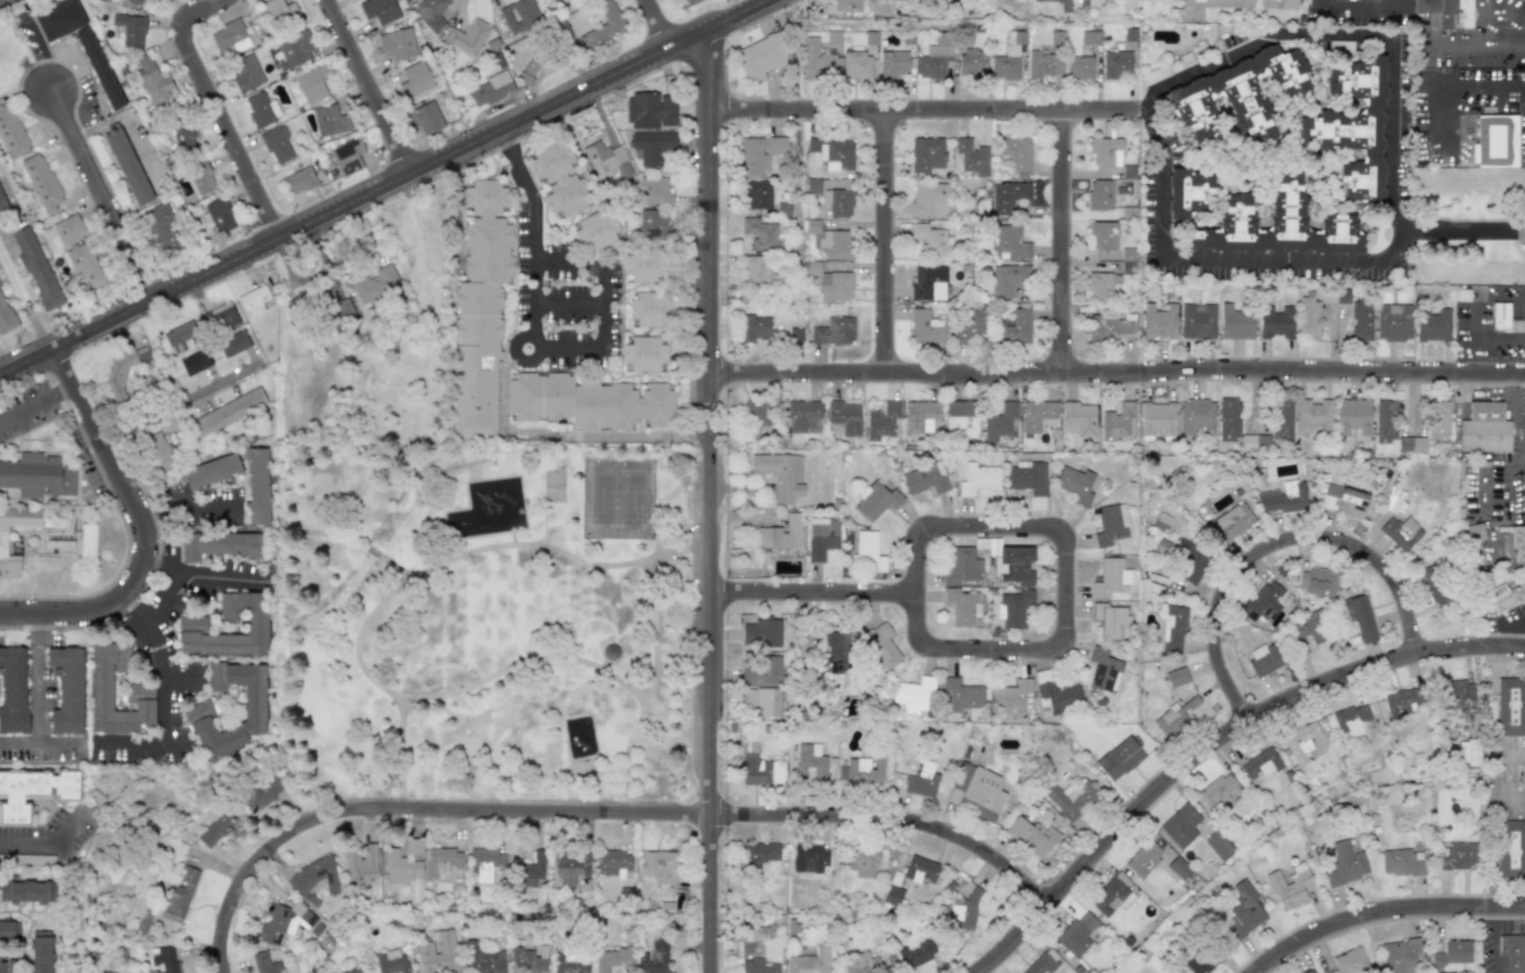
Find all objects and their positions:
building: (137, 1)
road: (1362, 1)
building: (686, 3)
building: (1061, 4)
building: (1240, 4)
building: (845, 6)
building: (379, 10)
building: (278, 12)
building: (430, 13)
building: (1464, 14)
building: (519, 15)
building: (58, 18)
road: (1428, 25)
road: (658, 26)
building: (603, 27)
building: (131, 29)
building: (468, 37)
building: (1090, 37)
building: (229, 38)
building: (1056, 39)
building: (396, 43)
building: (294, 48)
road: (1474, 50)
building: (762, 57)
building: (1009, 57)
building: (935, 58)
building: (819, 61)
building: (973, 62)
building: (893, 64)
building: (1117, 64)
building: (857, 65)
building: (1041, 65)
building: (1080, 67)
building: (99, 68)
building: (535, 69)
building: (245, 72)
building: (414, 79)
building: (153, 80)
building: (312, 84)
road: (1445, 86)
road: (369, 88)
building: (491, 88)
building: (1238, 95)
road: (218, 108)
building: (261, 109)
building: (652, 110)
road: (906, 110)
road: (1120, 113)
road: (1140, 113)
building: (424, 118)
building: (330, 120)
building: (1353, 127)
building: (11, 132)
building: (183, 137)
building: (1495, 139)
building: (277, 145)
road: (507, 147)
building: (1106, 152)
building: (834, 153)
building: (759, 154)
building: (927, 154)
building: (1017, 154)
building: (347, 155)
building: (972, 157)
building: (606, 160)
building: (127, 165)
building: (201, 177)
building: (559, 179)
building: (299, 180)
road: (524, 180)
building: (41, 182)
road: (389, 190)
building: (654, 191)
road: (101, 193)
building: (1188, 193)
building: (758, 194)
building: (1100, 194)
building: (1008, 196)
building: (930, 200)
building: (839, 202)
road: (1396, 205)
building: (4, 210)
building: (219, 215)
building: (653, 222)
building: (1276, 225)
road: (1461, 228)
building: (68, 229)
building: (161, 229)
building: (597, 231)
building: (762, 235)
building: (1104, 235)
road: (881, 239)
building: (930, 239)
building: (830, 240)
building: (1010, 241)
road: (1058, 241)
building: (85, 265)
road: (533, 265)
building: (643, 265)
building: (36, 268)
building: (756, 269)
building: (1009, 280)
building: (929, 283)
building: (376, 285)
building: (836, 286)
building: (1100, 286)
building: (1342, 296)
road: (567, 300)
building: (253, 301)
road: (600, 301)
road: (24, 302)
building: (651, 309)
building: (339, 313)
building: (480, 313)
building: (5, 315)
building: (1500, 315)
building: (220, 318)
building: (1309, 318)
building: (1361, 320)
road: (1475, 320)
building: (1159, 321)
building: (1197, 321)
building: (1276, 321)
building: (970, 322)
building: (1235, 322)
building: (1393, 322)
building: (1433, 324)
building: (1110, 325)
building: (755, 328)
building: (925, 328)
building: (1017, 328)
building: (834, 331)
road: (525, 333)
building: (179, 334)
building: (795, 335)
building: (233, 344)
building: (645, 354)
road: (519, 360)
building: (195, 362)
building: (122, 371)
road: (1117, 371)
road: (1514, 386)
road: (1491, 400)
building: (588, 402)
road: (35, 404)
building: (226, 412)
building: (755, 413)
building: (1312, 414)
building: (920, 415)
building: (1037, 415)
building: (803, 416)
building: (1352, 416)
building: (1156, 417)
building: (1197, 417)
building: (843, 418)
building: (960, 418)
building: (1078, 418)
building: (1227, 418)
building: (1282, 418)
road: (180, 420)
building: (882, 420)
building: (1438, 420)
building: (999, 421)
building: (1118, 421)
building: (1385, 421)
building: (1484, 428)
building: (1411, 443)
building: (157, 452)
building: (209, 471)
building: (781, 474)
road: (1501, 474)
building: (925, 478)
building: (977, 478)
building: (1029, 482)
building: (1075, 484)
building: (256, 485)
park: (553, 486)
building: (1282, 497)
park: (601, 498)
park: (632, 499)
building: (876, 500)
building: (1343, 501)
road: (708, 502)
road: (203, 505)
road: (152, 512)
building: (1162, 522)
building: (1230, 522)
road: (544, 524)
building: (1110, 524)
road: (144, 531)
building: (1400, 532)
building: (1474, 532)
building: (782, 533)
road: (512, 537)
building: (821, 537)
road: (350, 538)
building: (3, 540)
building: (87, 540)
building: (1517, 542)
building: (59, 544)
building: (219, 545)
road: (656, 546)
road: (474, 551)
building: (867, 552)
road: (1278, 552)
road: (673, 553)
building: (1189, 561)
road: (160, 562)
road: (185, 566)
building: (962, 566)
building: (1110, 578)
building: (1317, 581)
building: (1430, 583)
park: (473, 594)
road: (811, 594)
building: (1262, 602)
building: (961, 606)
building: (1015, 608)
road: (133, 610)
building: (1359, 617)
building: (1110, 620)
road: (36, 622)
building: (192, 628)
road: (1066, 628)
building: (1173, 628)
building: (1307, 632)
building: (761, 633)
building: (882, 646)
building: (834, 652)
building: (1264, 659)
road: (519, 662)
building: (760, 669)
building: (1103, 670)
building: (1177, 677)
road: (180, 680)
building: (12, 689)
building: (66, 689)
building: (139, 693)
road: (158, 693)
building: (961, 694)
building: (913, 695)
building: (1058, 697)
building: (762, 700)
building: (1401, 701)
building: (253, 702)
road: (37, 704)
building: (1511, 706)
building: (192, 711)
building: (1176, 715)
road: (637, 719)
building: (1350, 720)
building: (579, 738)
road: (127, 742)
road: (1211, 742)
building: (1301, 742)
road: (57, 743)
road: (85, 743)
building: (1468, 752)
building: (1121, 758)
building: (810, 763)
building: (1260, 763)
building: (759, 770)
building: (861, 771)
building: (921, 780)
building: (34, 790)
building: (975, 791)
building: (1218, 791)
building: (262, 793)
building: (1070, 798)
road: (413, 810)
road: (889, 820)
building: (1180, 824)
building: (216, 825)
building: (1031, 836)
road: (51, 845)
building: (1218, 845)
building: (1511, 849)
building: (761, 852)
building: (1458, 856)
building: (809, 858)
building: (1144, 858)
building: (861, 860)
building: (442, 861)
building: (1402, 862)
building: (404, 863)
building: (484, 863)
building: (613, 863)
building: (1346, 863)
building: (362, 864)
building: (660, 866)
building: (571, 867)
building: (1178, 867)
building: (920, 869)
building: (528, 873)
building: (1289, 886)
building: (28, 891)
building: (893, 895)
building: (1112, 895)
building: (171, 901)
road: (1379, 909)
building: (1245, 910)
road: (1495, 910)
building: (965, 912)
building: (283, 922)
building: (9, 930)
building: (1077, 933)
road: (1495, 944)
building: (41, 951)
building: (438, 952)
building: (1513, 952)
building: (916, 954)
building: (1399, 955)
building: (1452, 955)
building: (654, 958)
building: (483, 959)
building: (612, 959)
building: (1201, 959)
building: (164, 960)
building: (528, 960)
building: (1350, 961)
building: (391, 962)
building: (809, 962)
building: (265, 963)
building: (571, 963)
building: (860, 963)
building: (1042, 964)
building: (7, 966)
building: (758, 966)
building: (351, 971)
building: (1308, 971)

